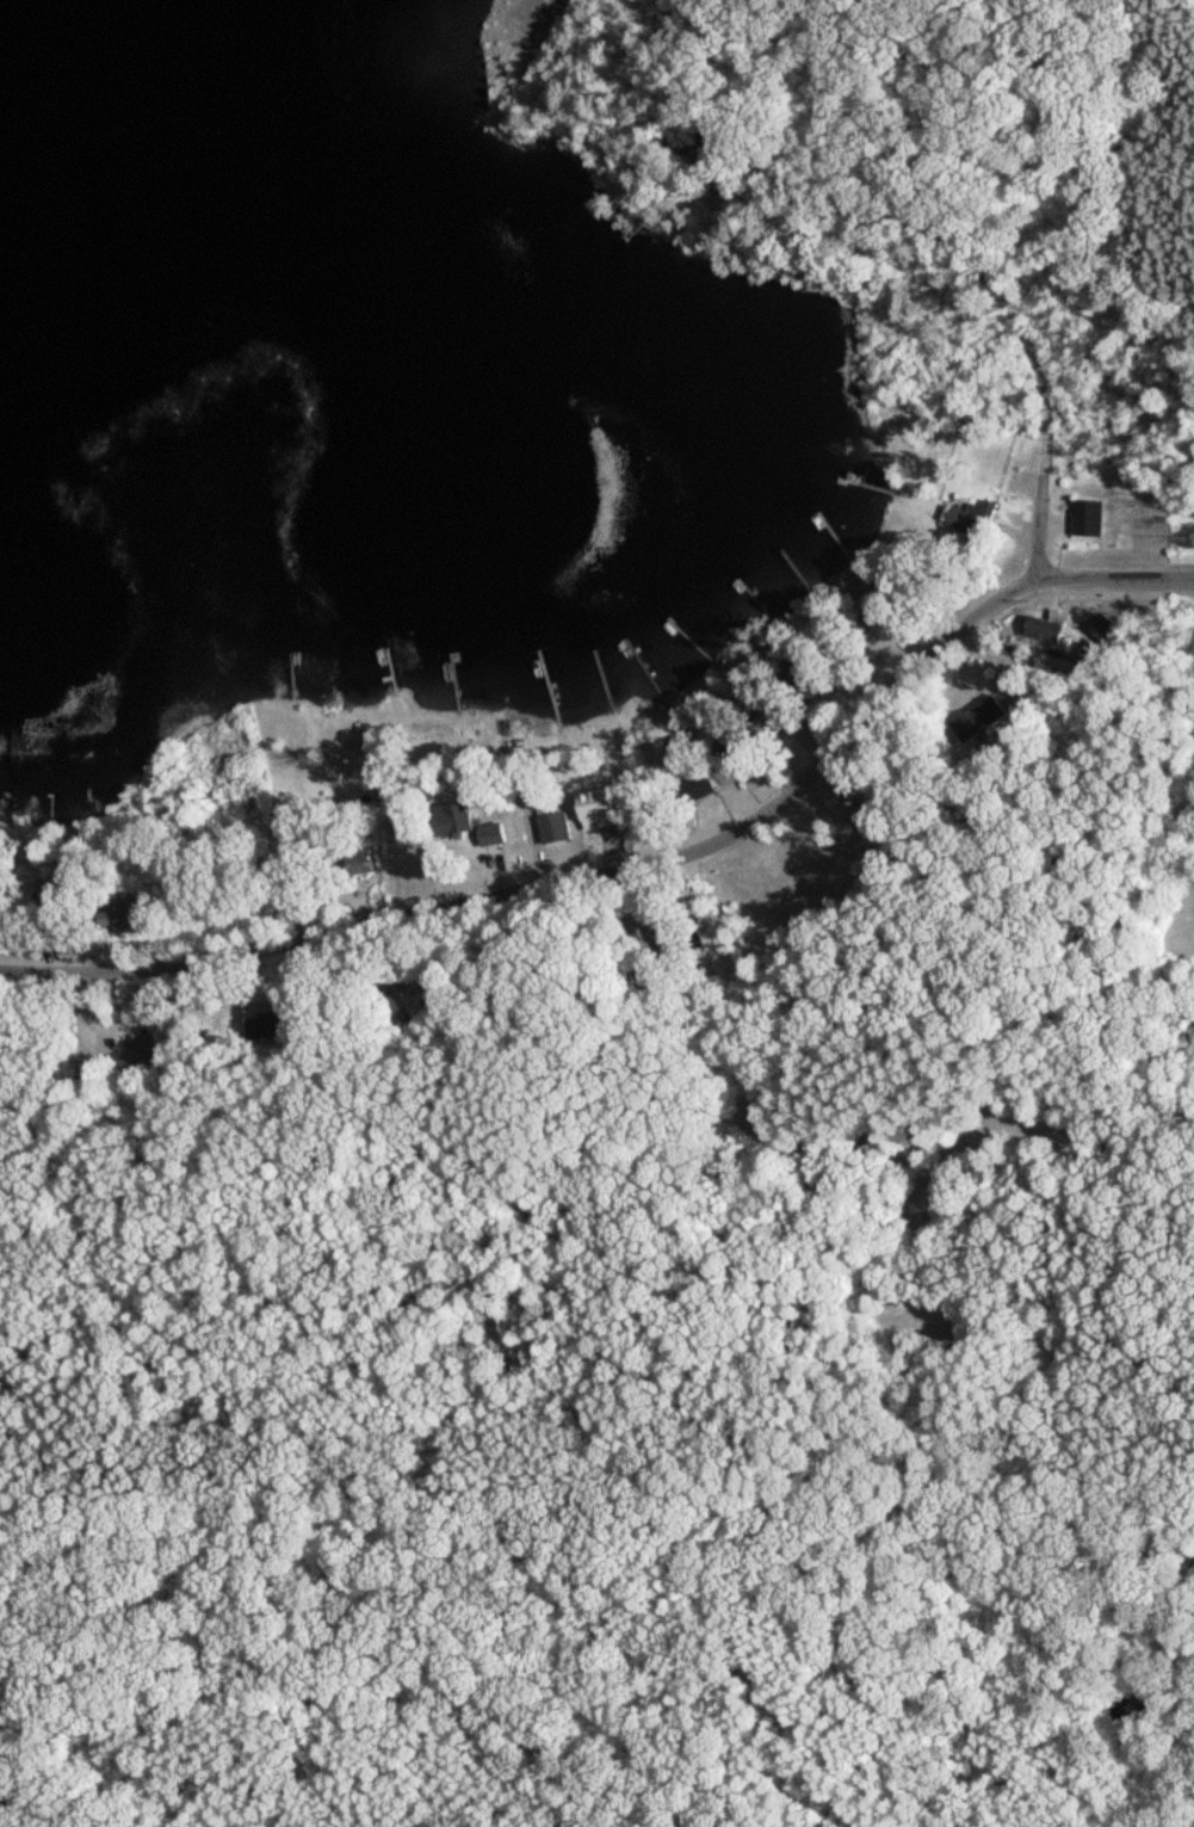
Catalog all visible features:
road: (1043, 388)
building: (969, 520)
building: (1090, 520)
building: (874, 600)
building: (1050, 630)
building: (1108, 631)
building: (982, 721)
building: (743, 755)
building: (701, 791)
building: (600, 819)
building: (453, 822)
road: (643, 869)
building: (48, 896)
building: (124, 918)
building: (265, 1020)
building: (140, 1058)

